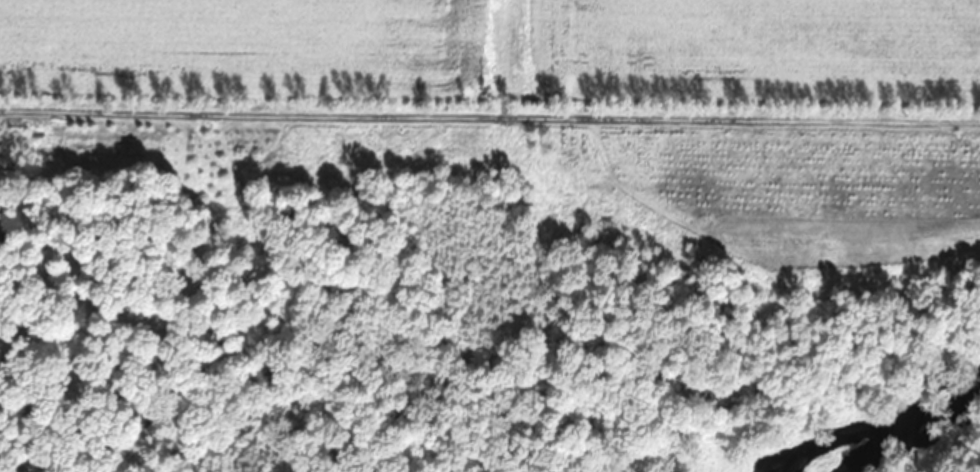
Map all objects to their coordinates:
road: (489, 117)

